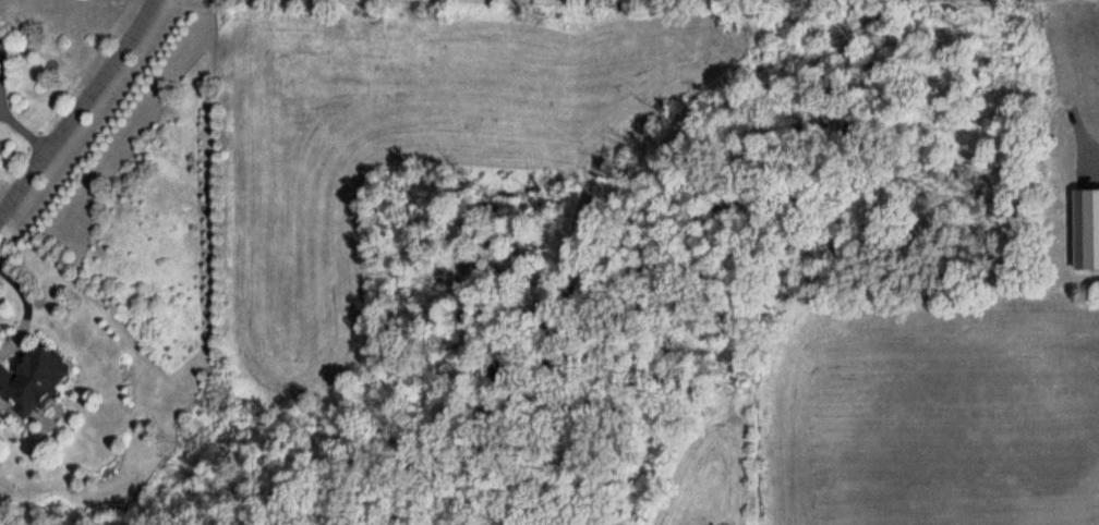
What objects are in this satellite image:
building: (0, 39)
road: (78, 106)
road: (5, 108)
building: (34, 380)

